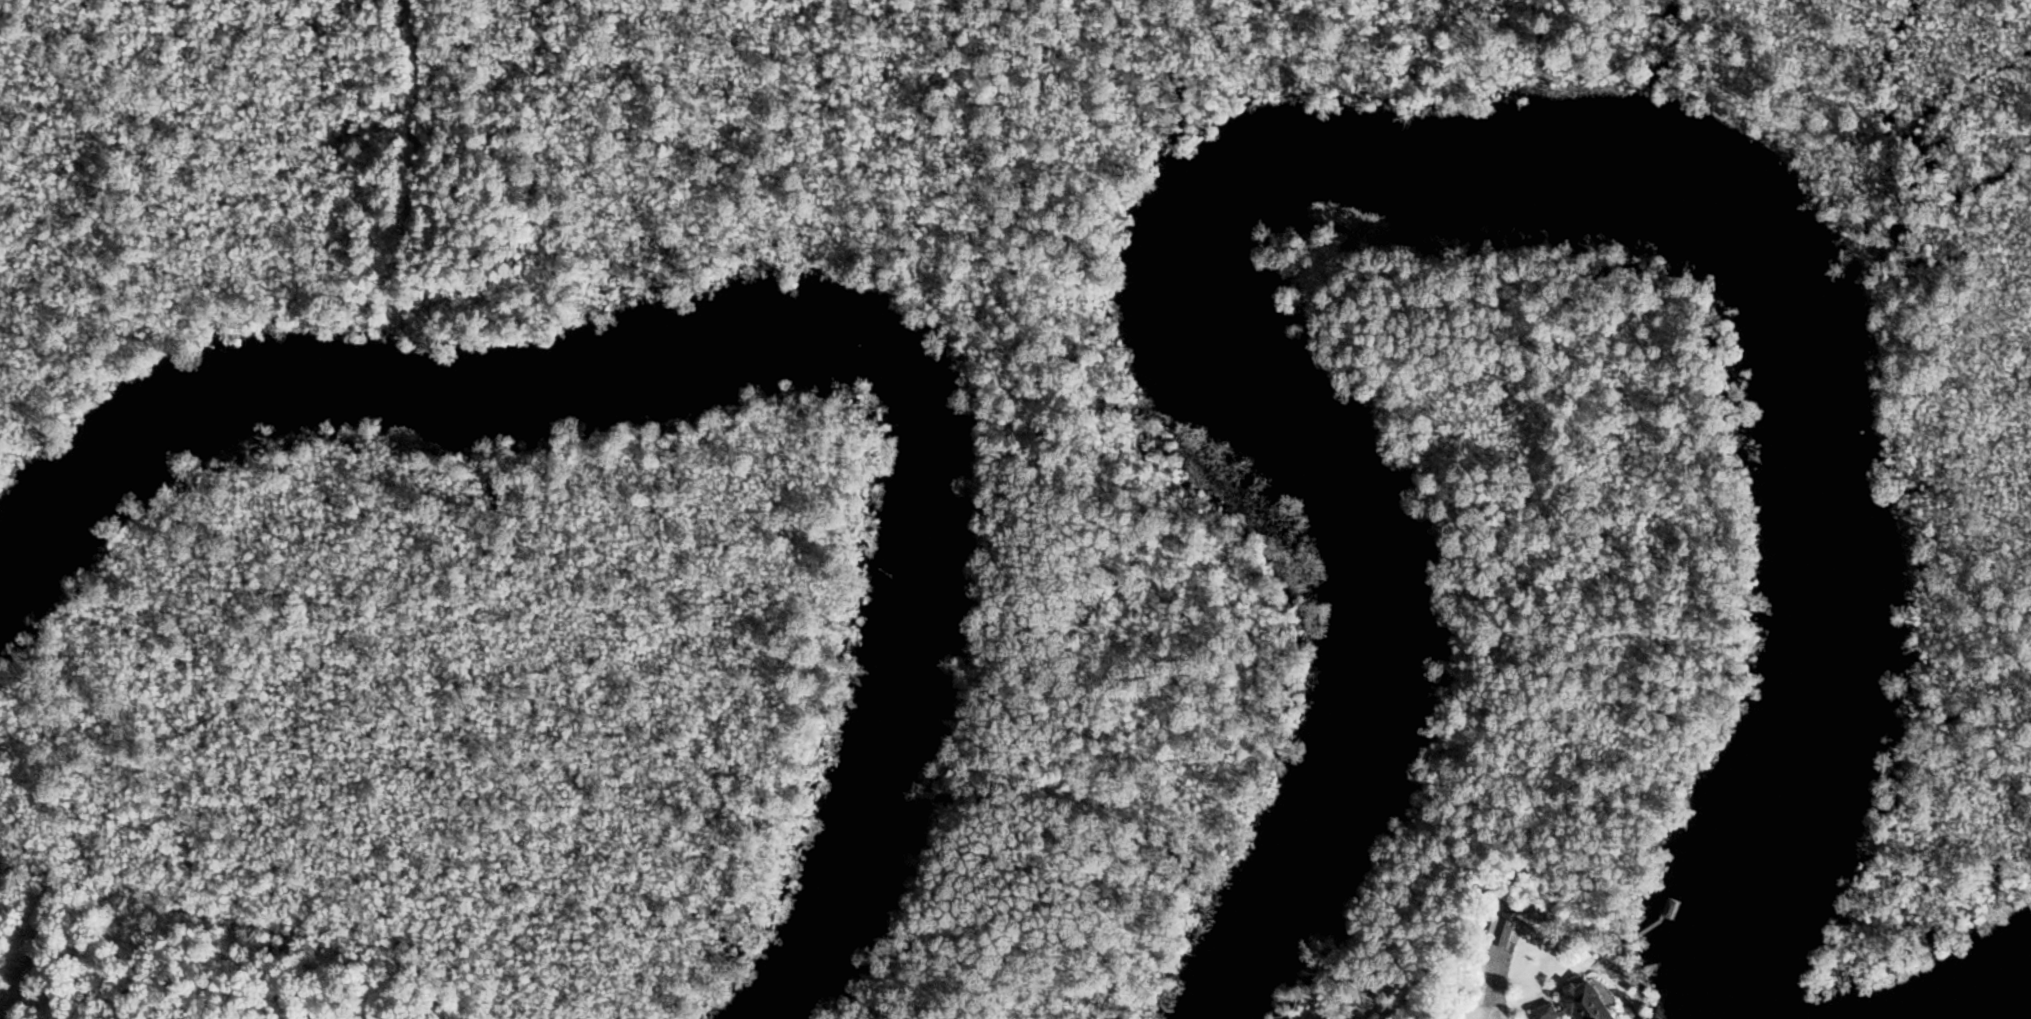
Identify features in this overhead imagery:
park: (1029, 334)
park: (1562, 498)

